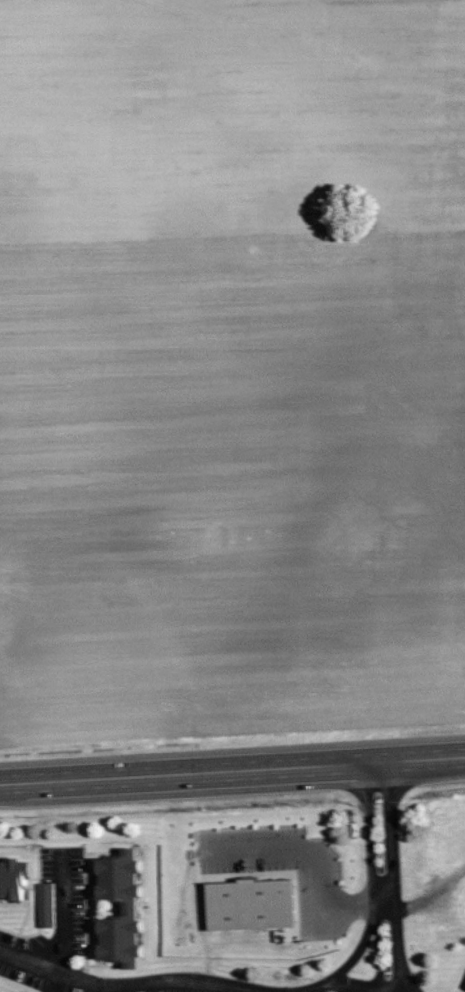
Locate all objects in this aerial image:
road: (232, 772)
road: (317, 860)
road: (372, 877)
road: (393, 877)
building: (13, 878)
building: (249, 905)
building: (46, 906)
building: (129, 910)
road: (59, 915)
road: (353, 956)
road: (55, 984)
road: (143, 984)
road: (347, 986)

